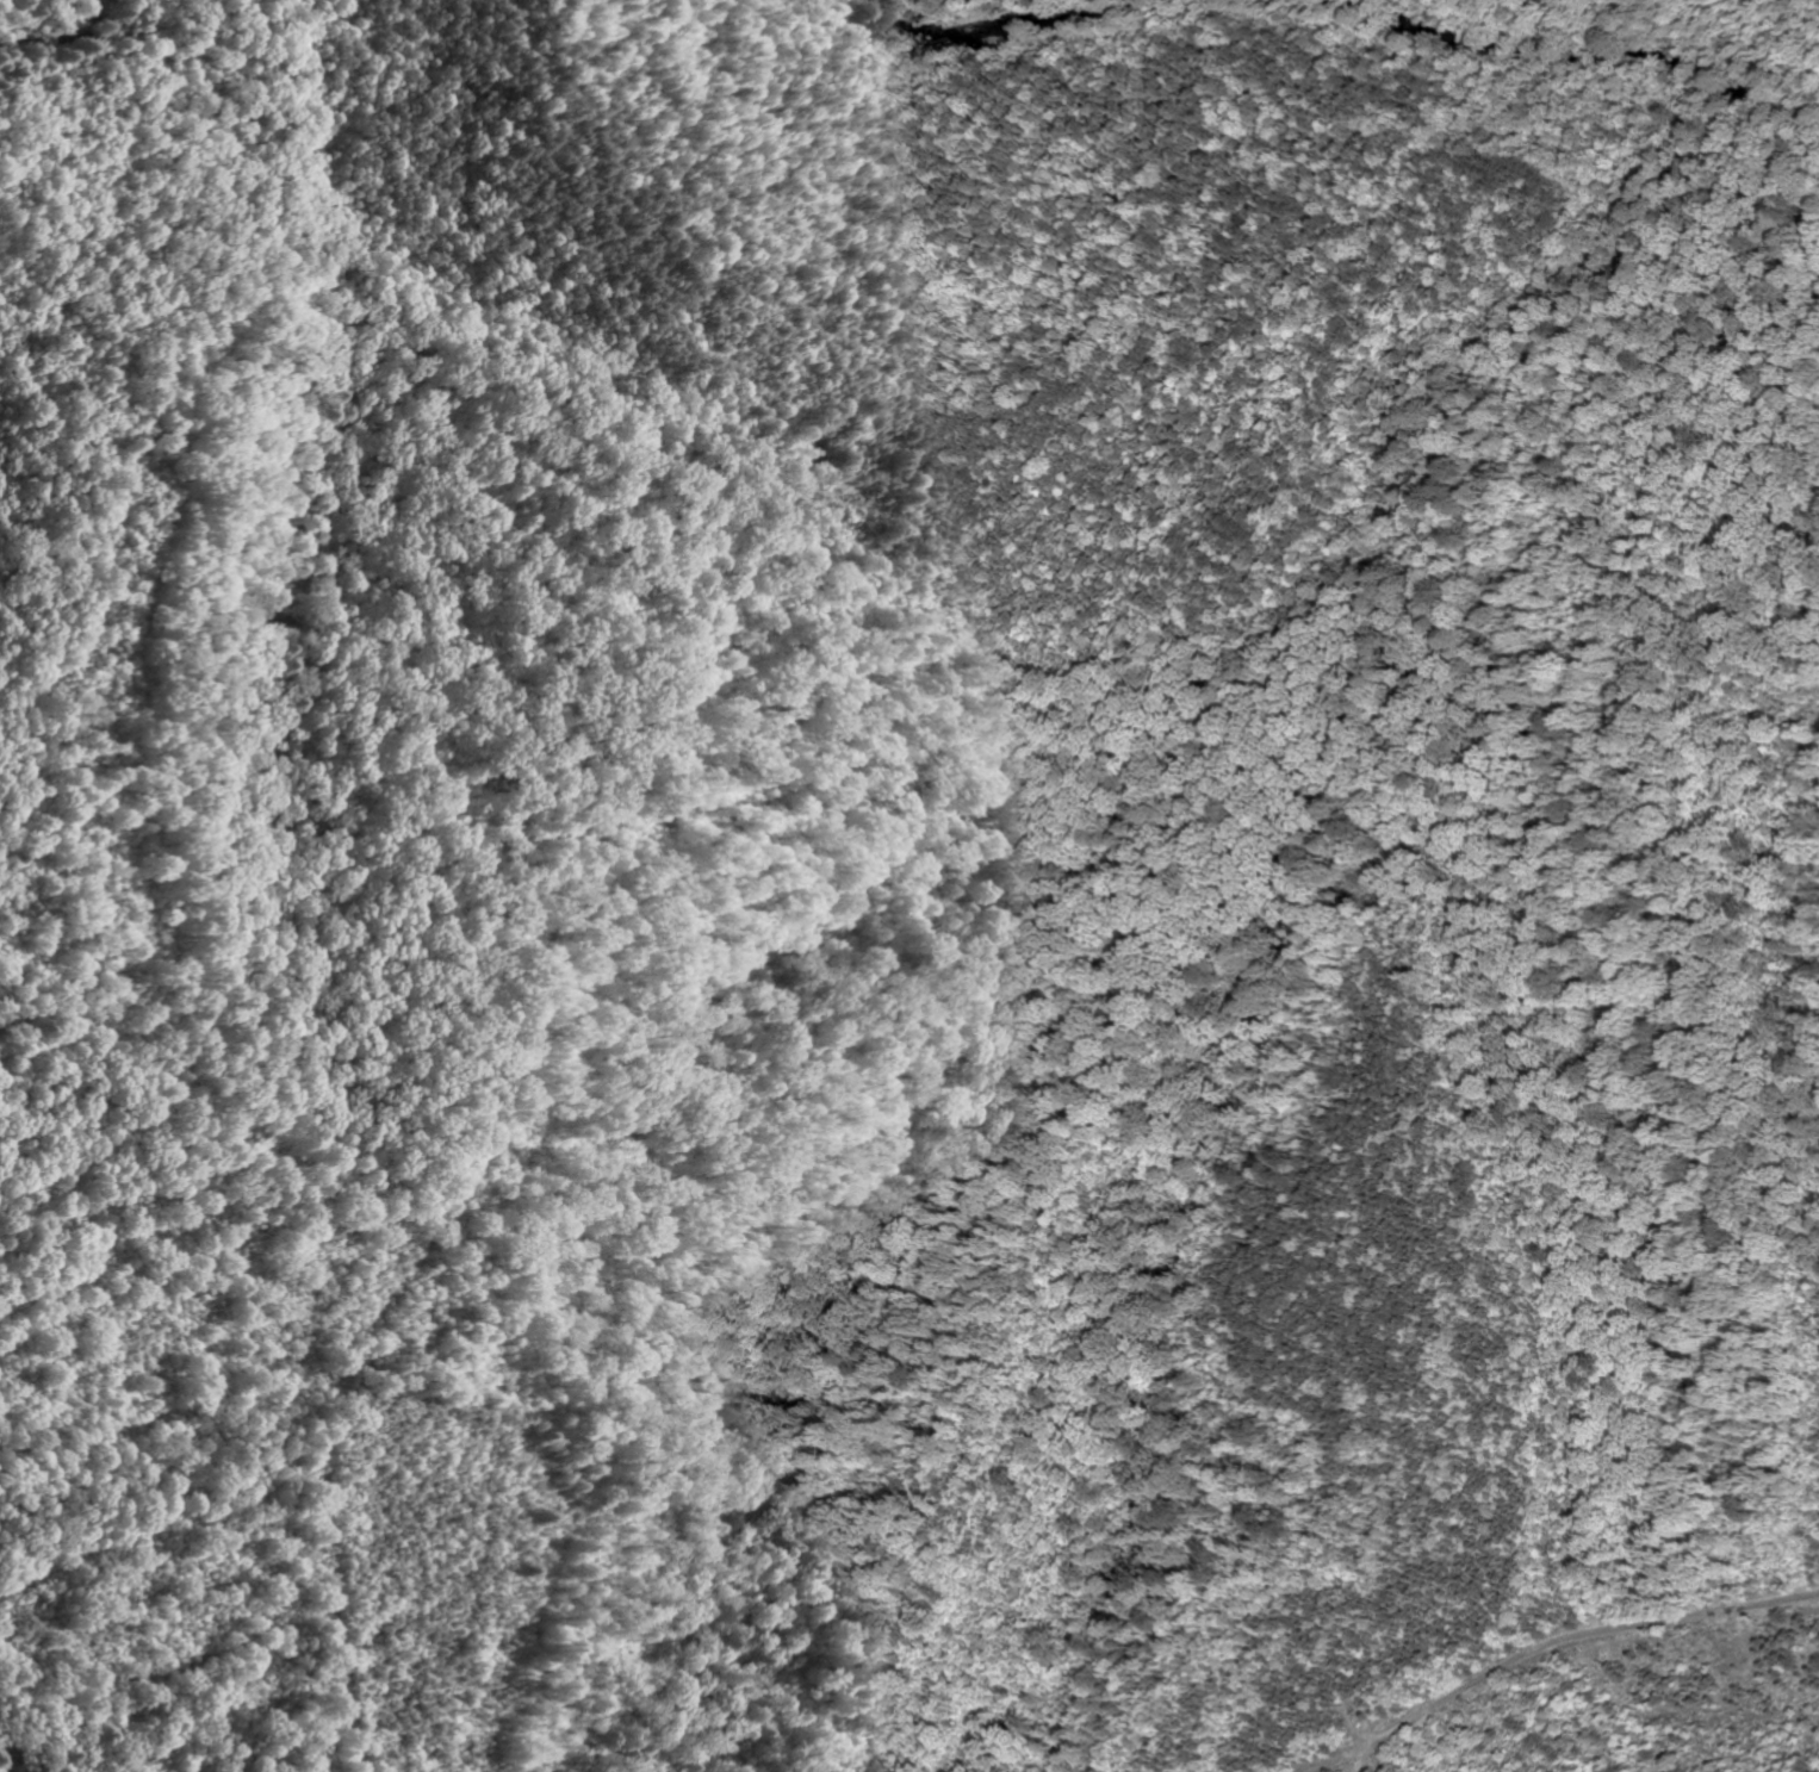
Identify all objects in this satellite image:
road: (1553, 1648)

